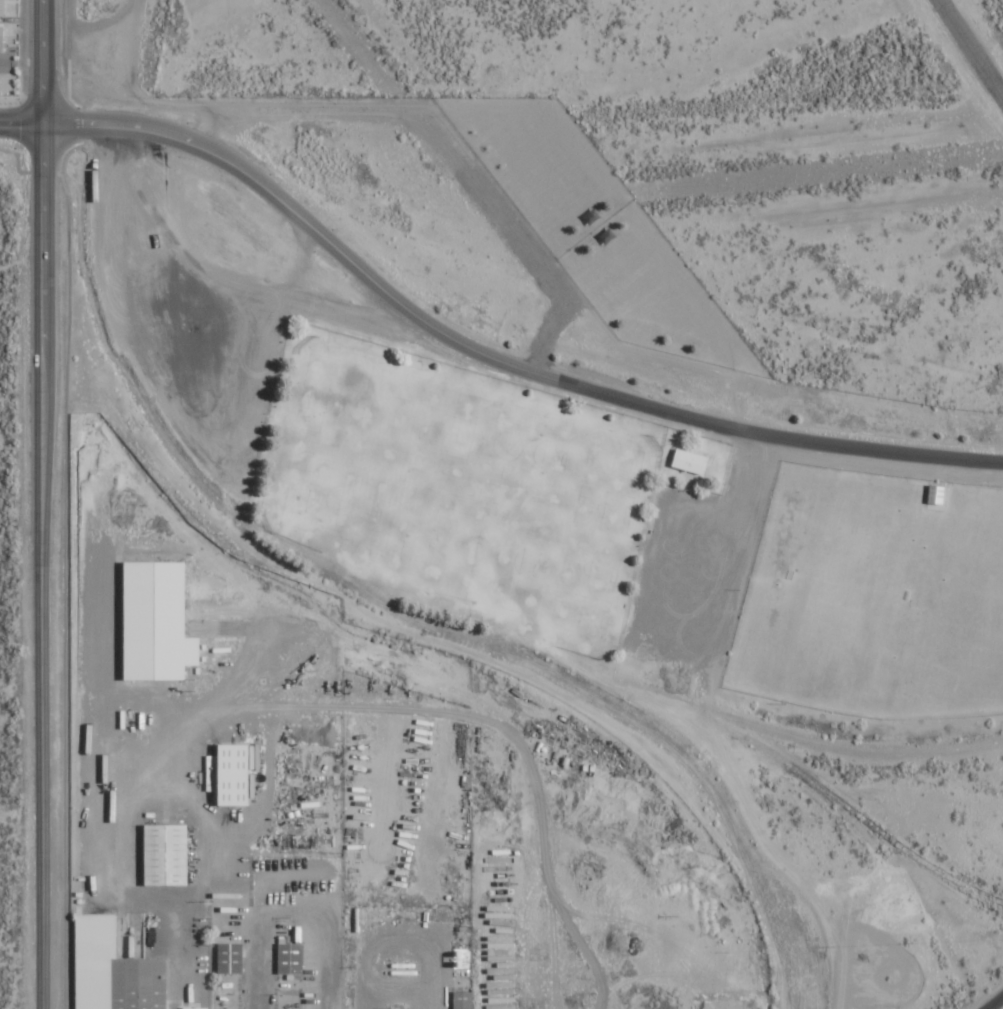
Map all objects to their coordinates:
building: (2, 8)
railway: (67, 22)
building: (2, 38)
airport taxiway: (973, 41)
road: (38, 59)
road: (19, 117)
road: (490, 357)
building: (690, 461)
building: (937, 494)
road: (40, 563)
building: (158, 623)
building: (167, 856)
building: (231, 958)
building: (291, 959)
building: (115, 970)
building: (464, 1000)
road: (997, 1005)

